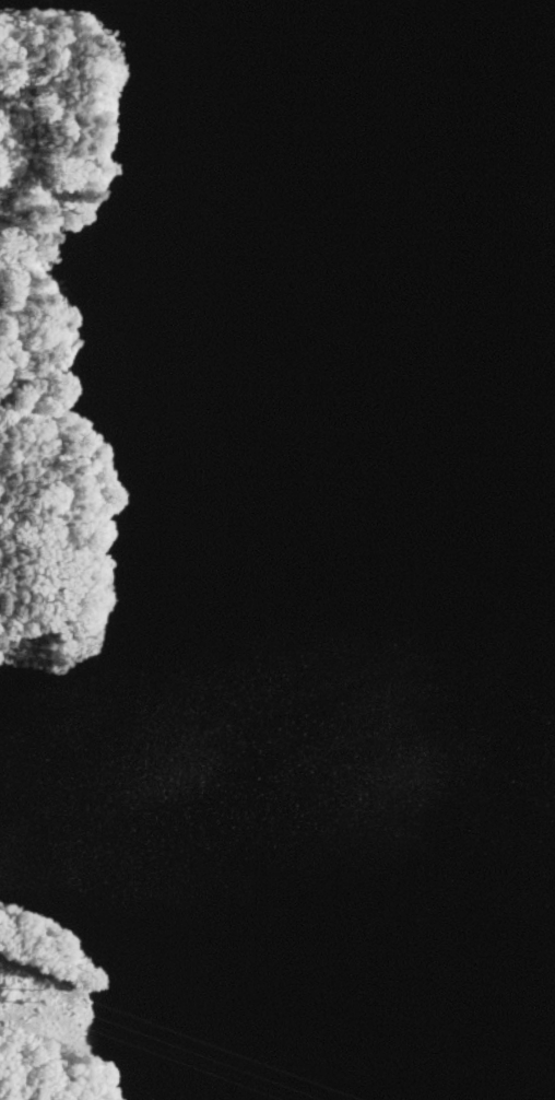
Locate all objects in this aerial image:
power tower: (13, 995)

